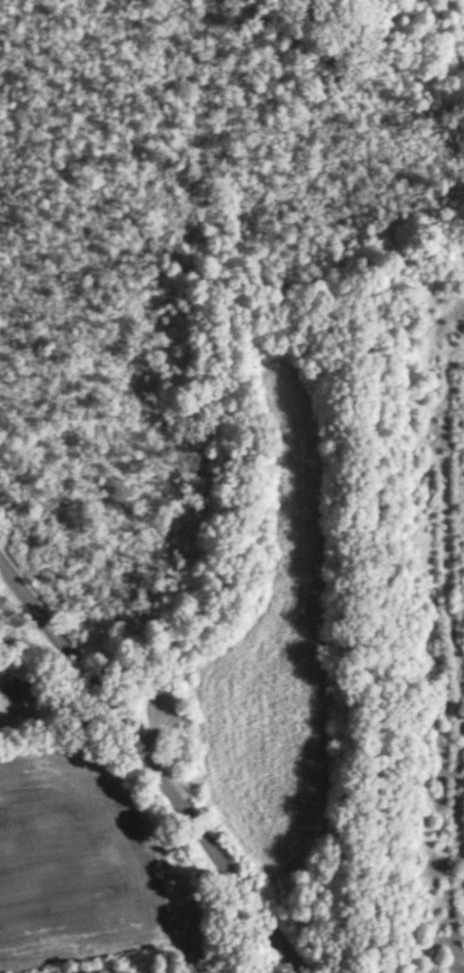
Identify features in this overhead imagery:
road: (152, 766)

